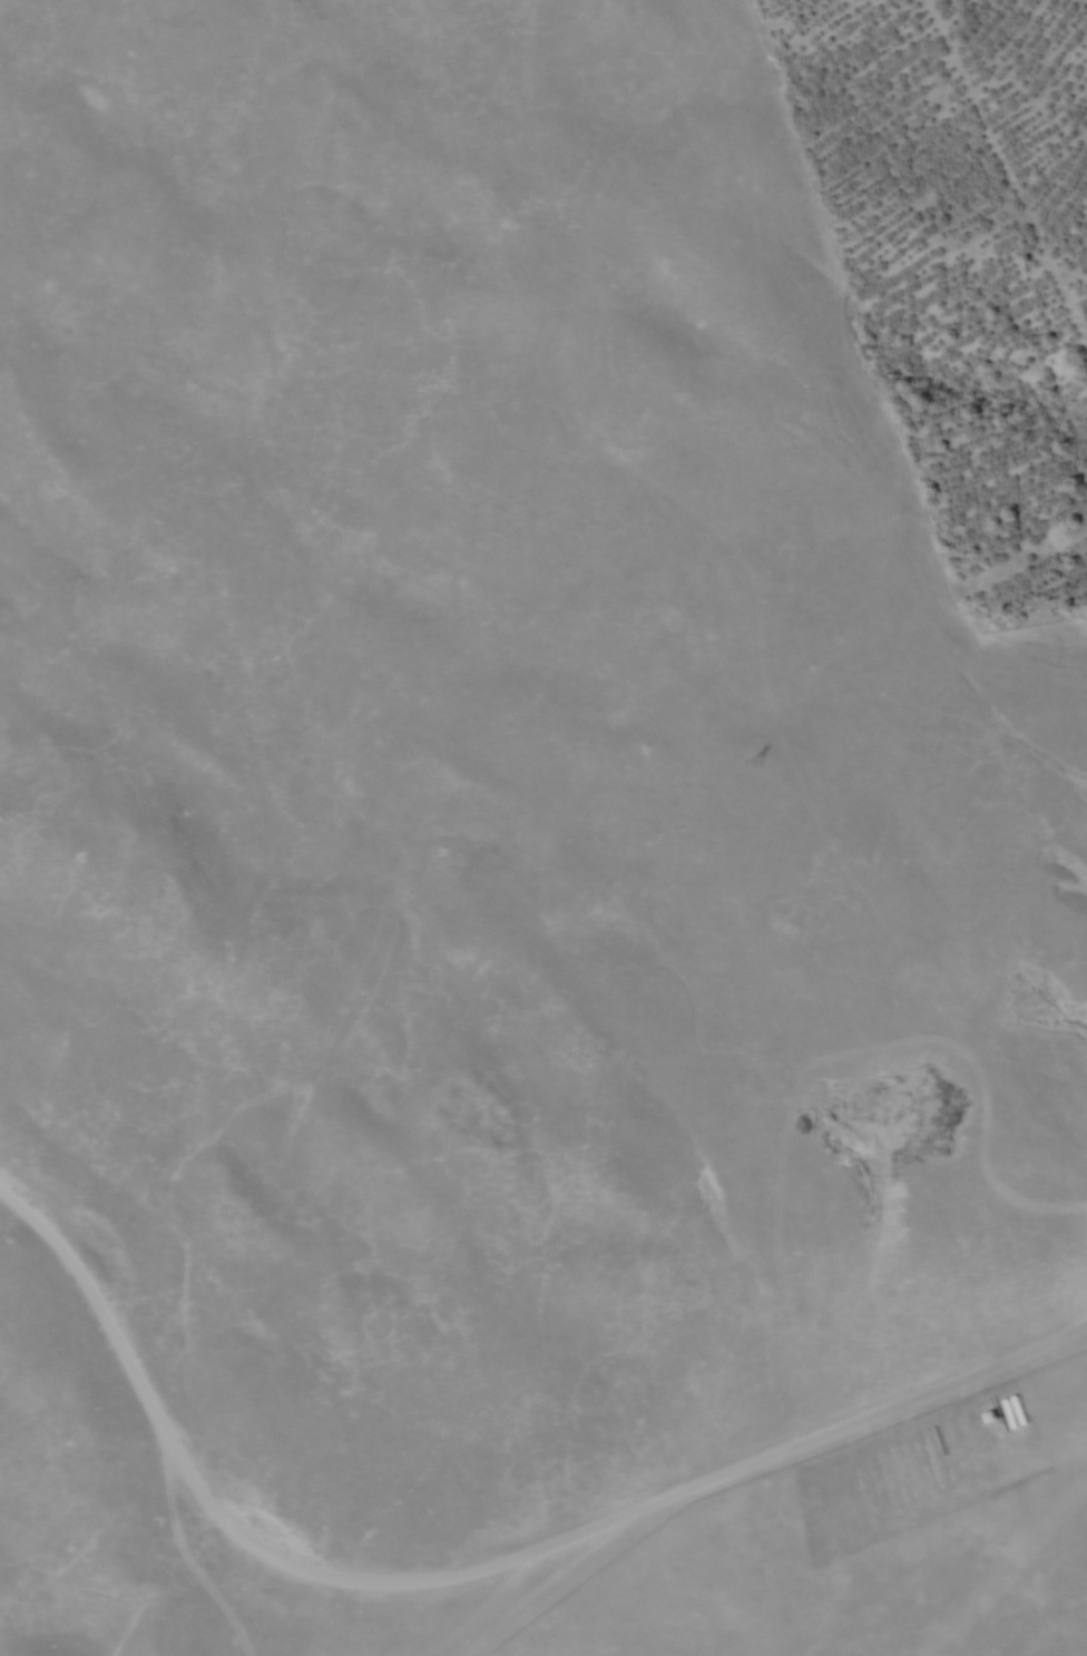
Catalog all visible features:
airport runway: (1006, 1567)
road: (471, 1572)
airport runway: (757, 1617)

